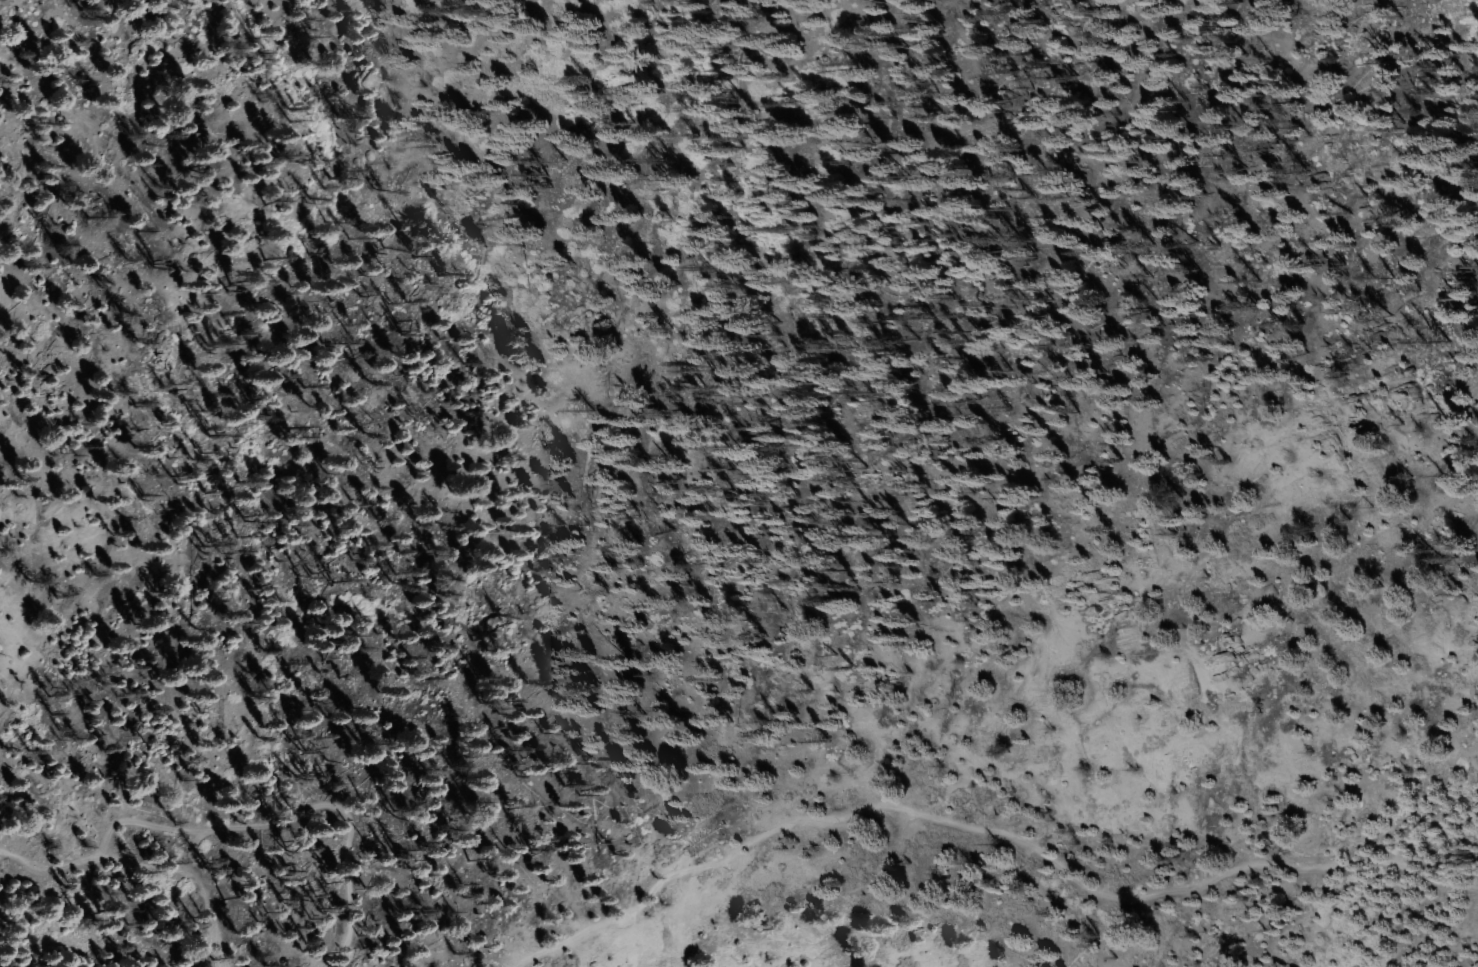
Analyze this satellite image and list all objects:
building: (624, 92)
road: (156, 821)
road: (266, 822)
road: (993, 830)

